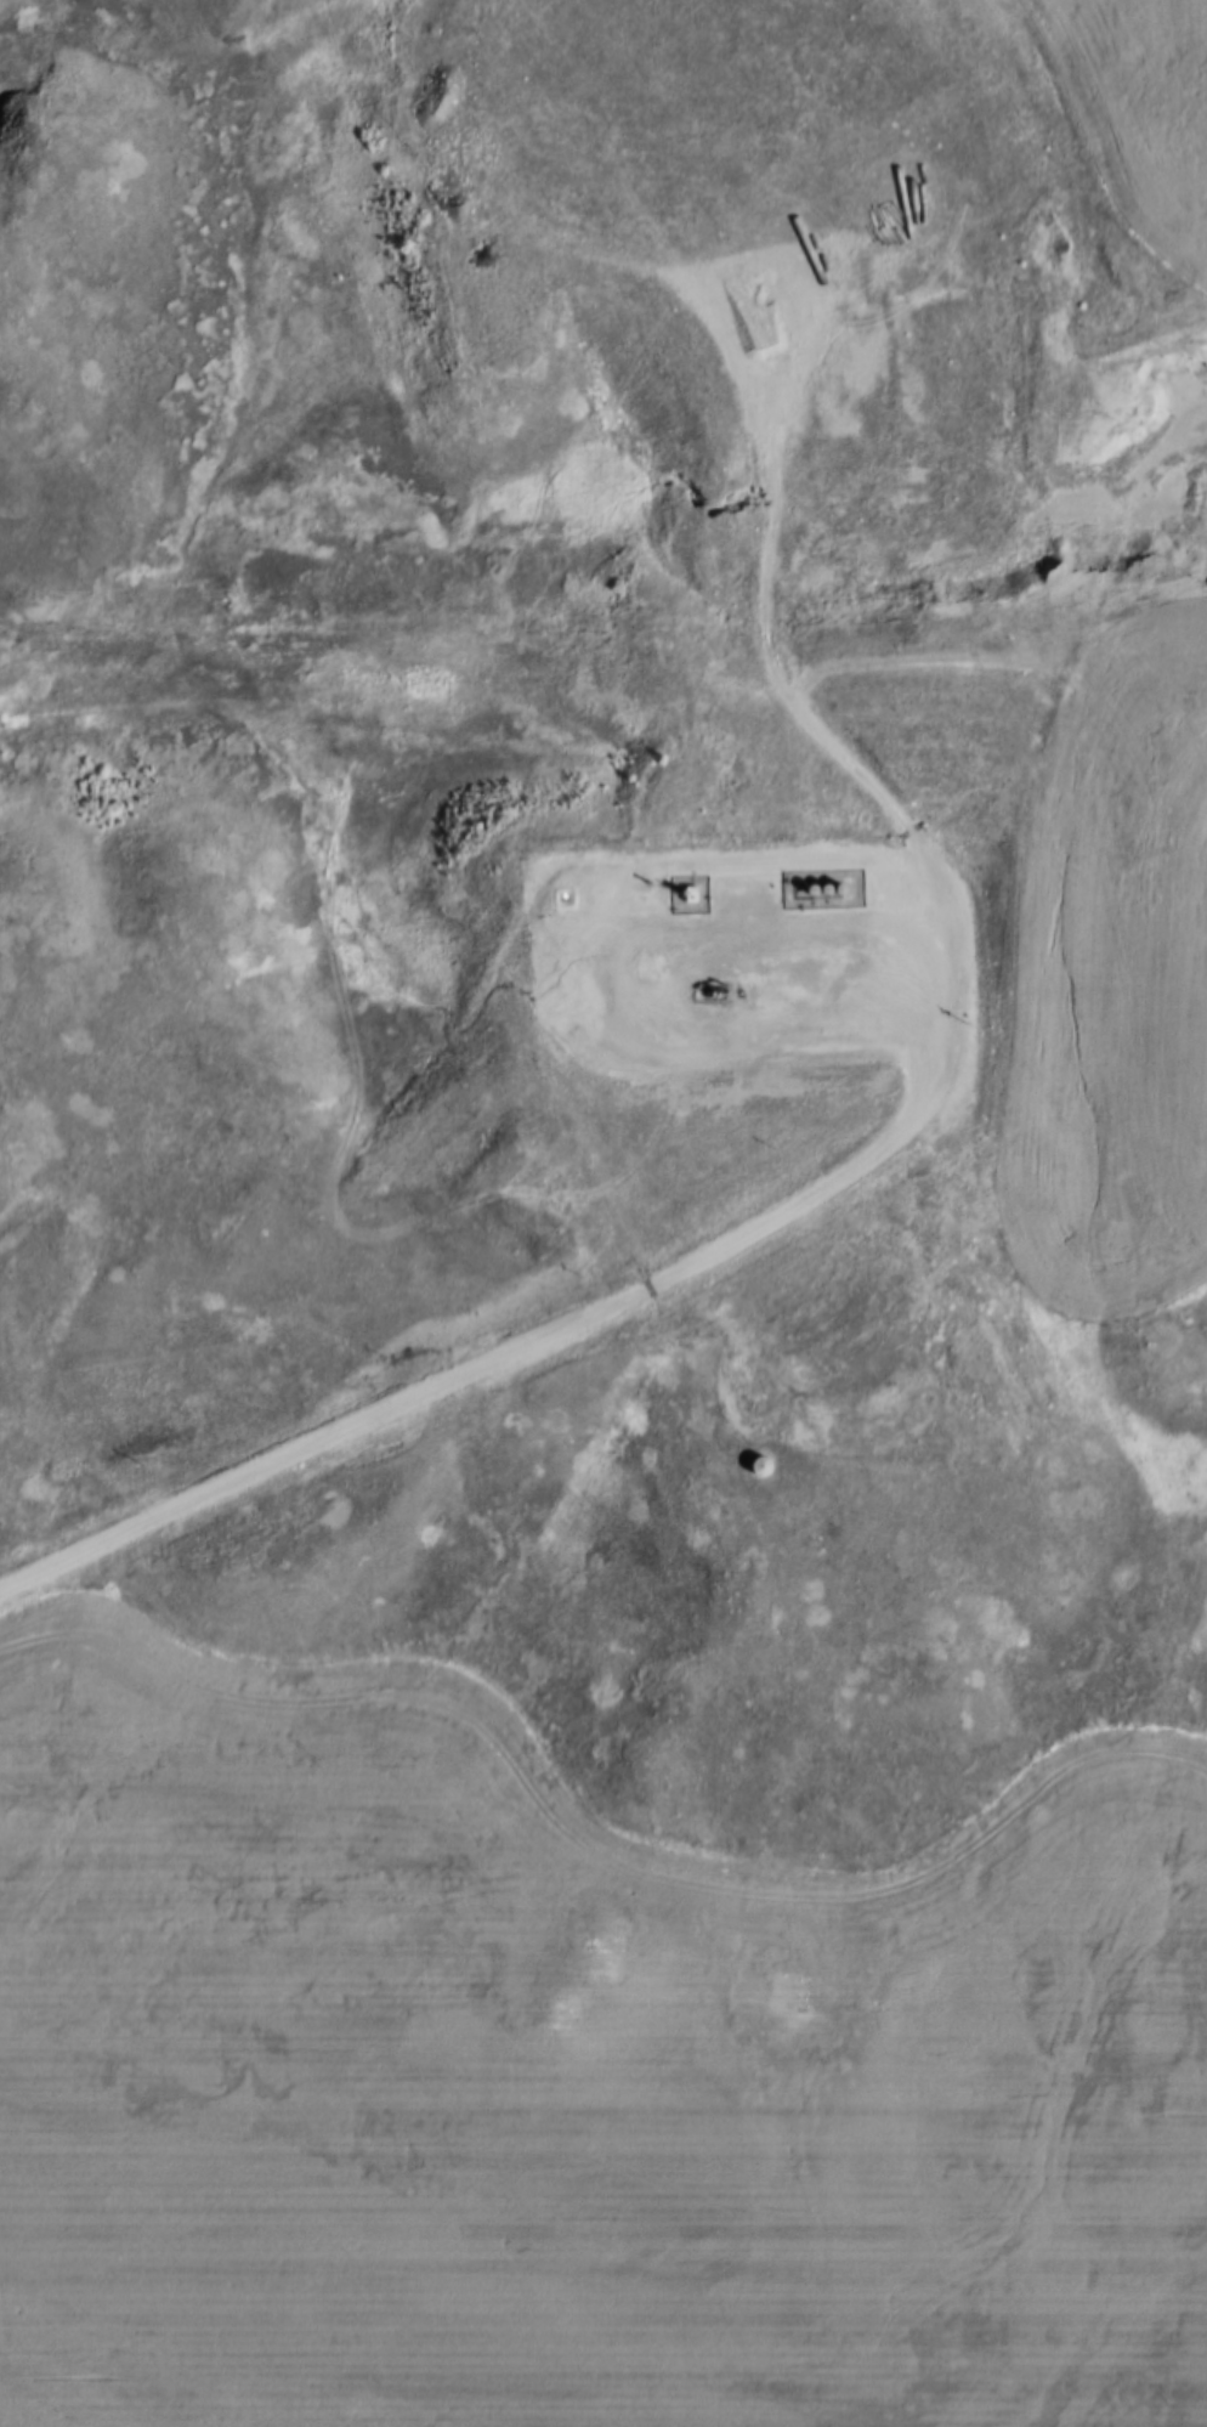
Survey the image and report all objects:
quarry: (940, 449)
building: (769, 889)
building: (681, 892)
road: (591, 984)
petroleum well: (712, 989)
road: (852, 1169)
building: (767, 1469)

